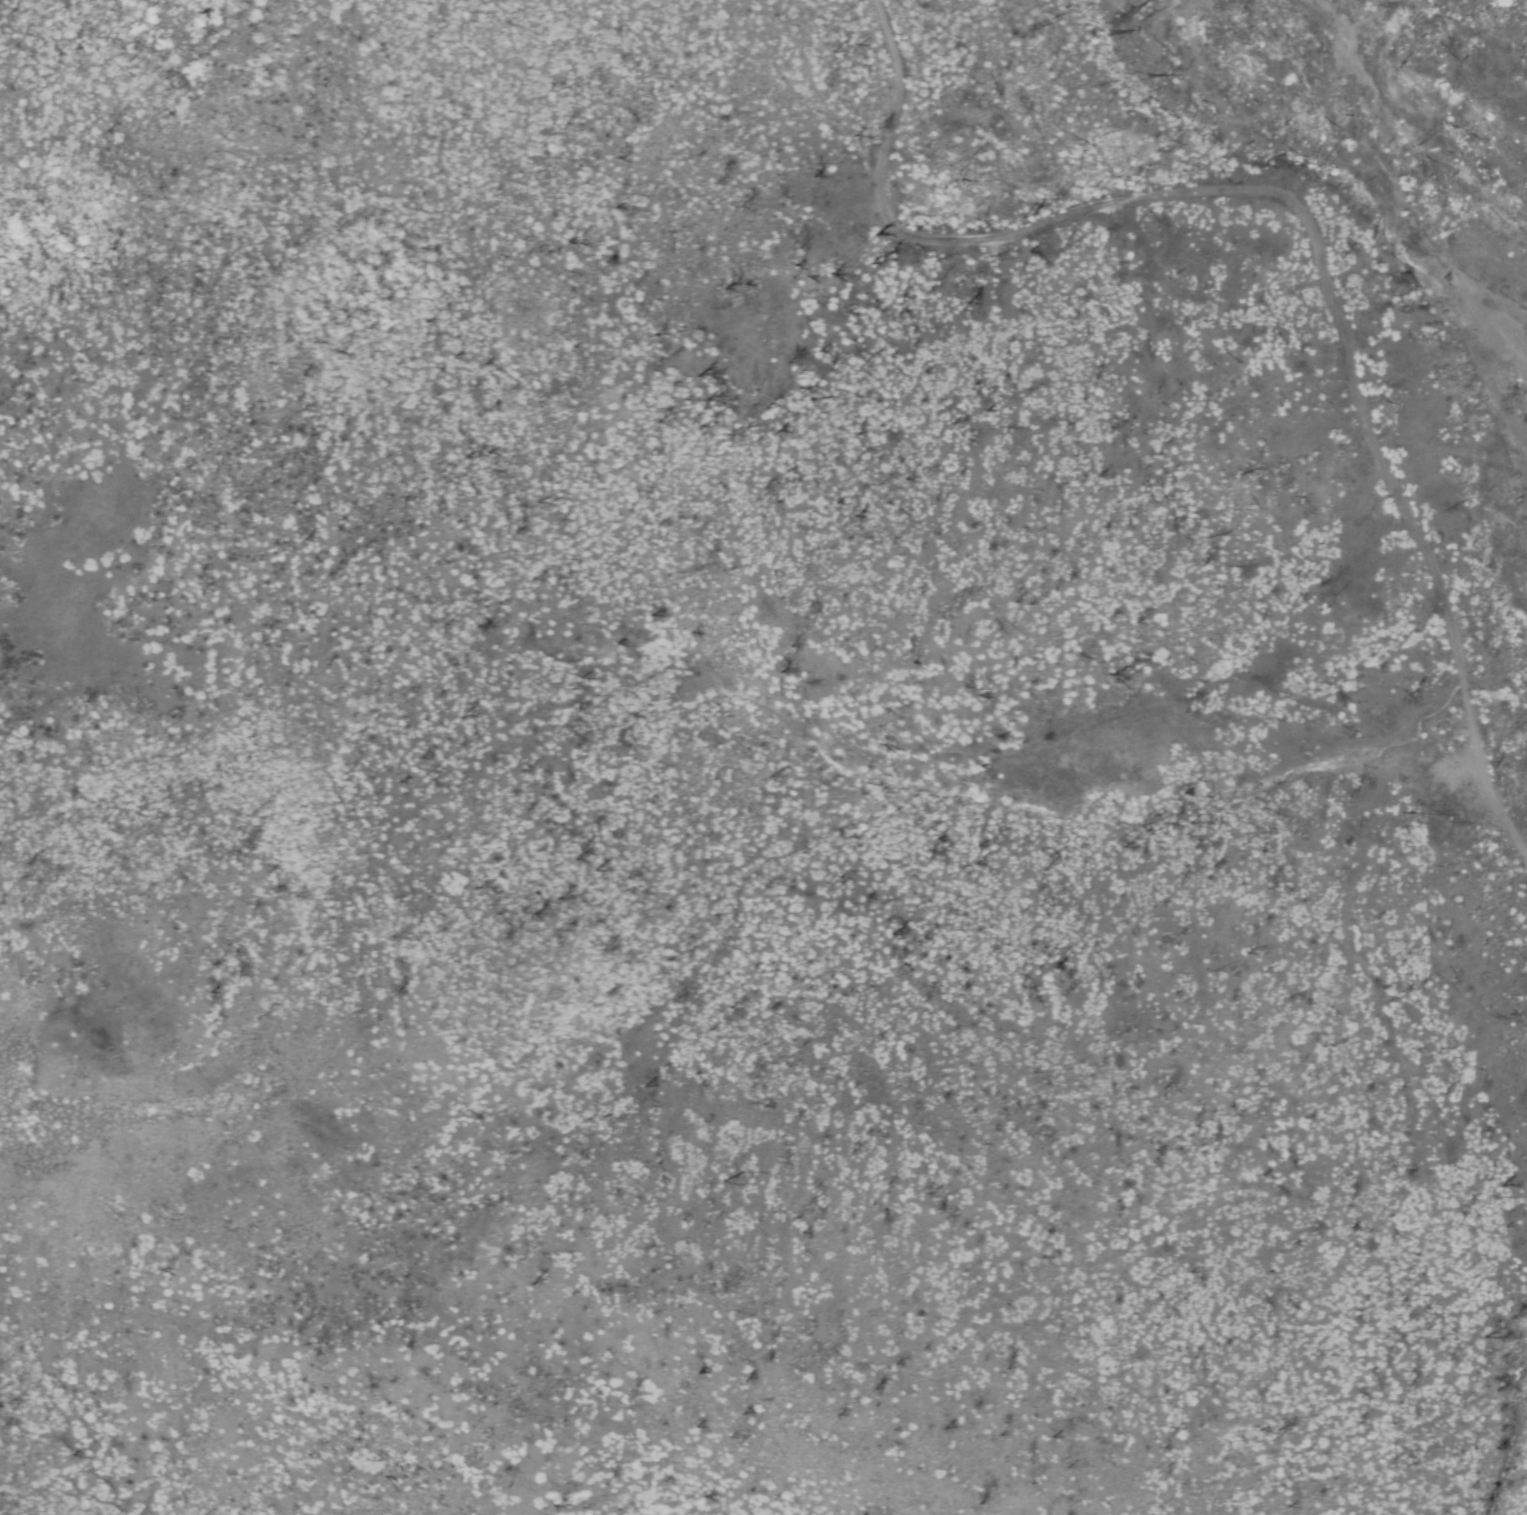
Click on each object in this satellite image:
road: (1314, 217)

